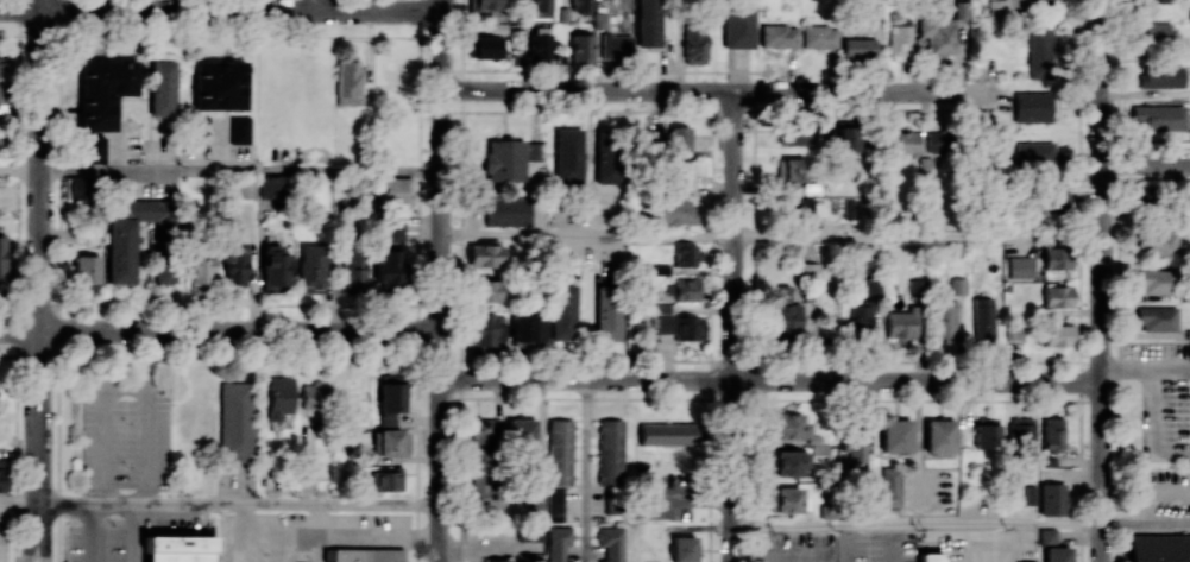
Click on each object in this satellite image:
building: (1158, 0)
road: (320, 5)
road: (441, 5)
building: (581, 5)
road: (220, 8)
building: (491, 8)
building: (540, 8)
building: (649, 23)
building: (738, 26)
building: (1157, 32)
building: (938, 34)
building: (779, 36)
building: (820, 36)
road: (220, 37)
building: (900, 39)
building: (694, 43)
building: (540, 45)
building: (581, 45)
building: (616, 45)
building: (487, 46)
building: (860, 48)
building: (1040, 55)
building: (1160, 76)
building: (348, 81)
building: (4, 84)
building: (219, 84)
building: (162, 87)
building: (105, 90)
road: (713, 91)
building: (1032, 106)
building: (1158, 118)
building: (202, 128)
building: (239, 128)
building: (799, 132)
building: (648, 137)
building: (849, 137)
building: (679, 138)
building: (938, 141)
building: (900, 143)
building: (95, 150)
building: (534, 151)
building: (568, 156)
building: (1033, 156)
building: (606, 157)
building: (504, 159)
road: (1145, 162)
building: (792, 169)
road: (20, 170)
road: (241, 172)
building: (678, 173)
building: (271, 187)
building: (76, 188)
building: (245, 189)
building: (393, 190)
building: (1142, 195)
building: (1056, 198)
building: (798, 208)
building: (506, 211)
building: (674, 211)
building: (395, 228)
building: (130, 235)
road: (587, 236)
road: (917, 239)
building: (1159, 242)
road: (40, 251)
building: (484, 254)
building: (687, 254)
building: (1057, 257)
building: (2, 258)
building: (234, 264)
building: (389, 264)
building: (276, 265)
building: (311, 266)
building: (1021, 267)
building: (810, 269)
building: (200, 270)
building: (87, 272)
building: (353, 272)
road: (1100, 280)
building: (1153, 282)
road: (442, 285)
building: (486, 290)
building: (1058, 296)
road: (220, 305)
building: (563, 311)
building: (607, 312)
building: (786, 314)
building: (858, 318)
building: (1157, 318)
building: (984, 320)
building: (945, 322)
road: (732, 323)
building: (901, 326)
building: (682, 327)
building: (486, 329)
building: (527, 329)
building: (1015, 329)
road: (220, 330)
building: (1058, 335)
road: (549, 360)
road: (1129, 366)
road: (1175, 366)
road: (770, 383)
road: (130, 390)
building: (279, 397)
building: (315, 397)
building: (390, 402)
building: (237, 421)
road: (1159, 424)
building: (789, 425)
building: (522, 430)
building: (666, 432)
building: (987, 432)
building: (1052, 432)
building: (896, 435)
building: (940, 435)
building: (480, 436)
building: (390, 443)
building: (855, 444)
building: (610, 452)
building: (789, 462)
building: (559, 465)
road: (586, 472)
building: (2, 480)
building: (386, 480)
building: (892, 486)
building: (1030, 495)
road: (687, 498)
building: (786, 499)
building: (1052, 499)
road: (19, 503)
road: (240, 504)
building: (536, 504)
road: (15, 529)
road: (915, 529)
road: (1145, 530)
road: (44, 531)
road: (34, 532)
road: (93, 532)
road: (137, 532)
building: (529, 532)
building: (1047, 536)
parking lot: (2, 539)
building: (559, 543)
building: (611, 543)
road: (846, 545)
road: (974, 545)
parking lot: (986, 545)
parking lot: (884, 547)
building: (180, 548)
building: (684, 548)
parking lot: (797, 548)
building: (1160, 548)
building: (367, 555)
building: (1058, 555)
building: (931, 557)
road: (731, 558)
road: (732, 558)
building: (496, 560)

